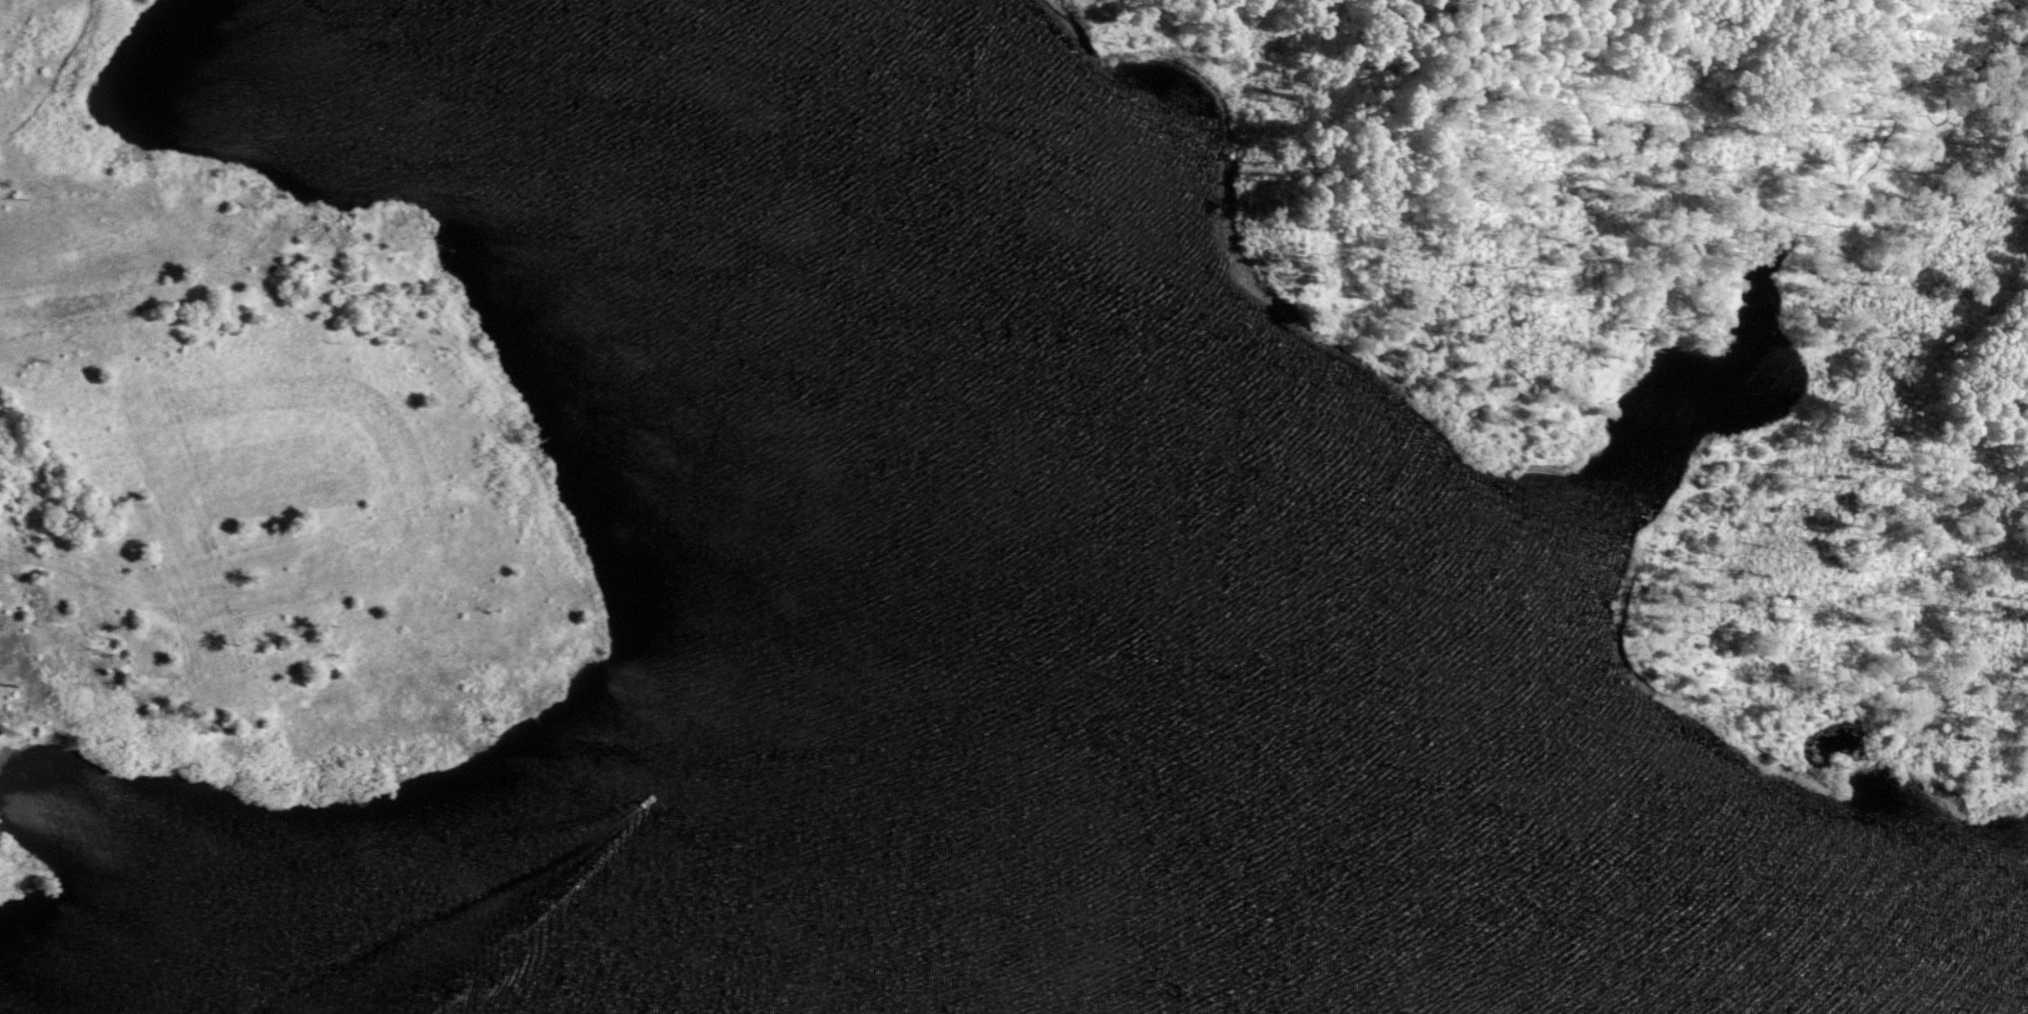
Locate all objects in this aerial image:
road: (76, 292)
road: (76, 348)
road: (275, 379)
river: (972, 529)
road: (150, 594)

